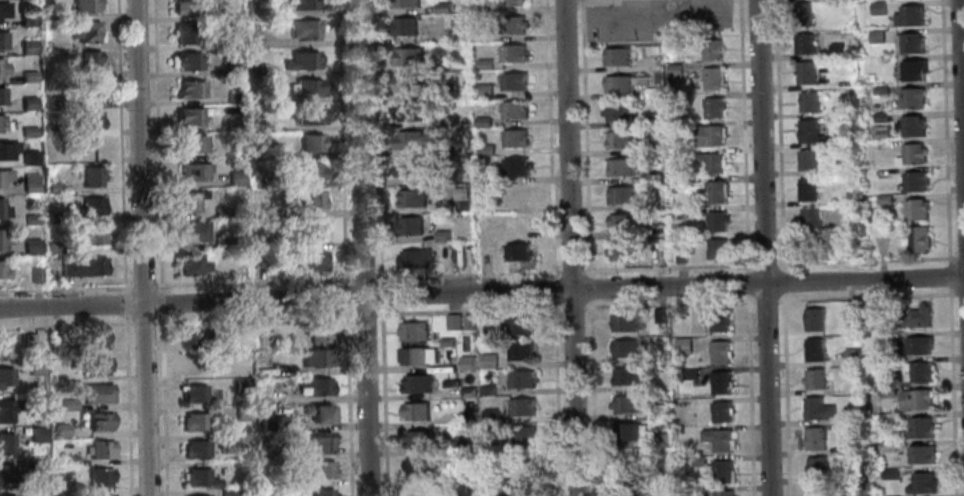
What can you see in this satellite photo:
building: (511, 2)
building: (407, 3)
building: (304, 4)
building: (82, 6)
building: (184, 7)
building: (257, 8)
building: (444, 8)
building: (878, 8)
building: (2, 9)
building: (804, 15)
building: (910, 16)
building: (24, 18)
building: (511, 25)
building: (406, 26)
building: (303, 29)
building: (83, 31)
building: (459, 31)
building: (182, 33)
building: (876, 37)
building: (1, 41)
building: (252, 41)
building: (910, 44)
building: (803, 45)
building: (25, 47)
building: (712, 50)
building: (836, 51)
building: (513, 53)
building: (247, 56)
building: (409, 56)
building: (617, 56)
building: (86, 60)
building: (185, 61)
building: (300, 61)
building: (450, 62)
building: (485, 64)
building: (1, 68)
building: (252, 69)
building: (231, 70)
building: (914, 70)
building: (674, 72)
building: (806, 73)
building: (26, 76)
building: (712, 78)
building: (870, 78)
building: (513, 81)
building: (618, 84)
building: (411, 85)
building: (307, 87)
building: (83, 89)
building: (188, 90)
building: (880, 90)
building: (484, 91)
road: (961, 92)
building: (652, 94)
building: (0, 97)
building: (232, 98)
building: (913, 98)
building: (48, 103)
building: (808, 103)
building: (25, 104)
building: (712, 107)
building: (515, 110)
building: (408, 111)
building: (618, 112)
building: (187, 116)
building: (309, 116)
building: (881, 117)
building: (87, 120)
building: (483, 122)
building: (653, 122)
building: (4, 124)
building: (233, 125)
building: (913, 126)
building: (256, 127)
building: (50, 130)
building: (25, 131)
building: (808, 131)
road: (945, 131)
road: (743, 135)
road: (779, 135)
building: (710, 136)
building: (515, 138)
road: (549, 138)
road: (586, 138)
building: (409, 139)
building: (618, 139)
road: (376, 141)
building: (848, 141)
road: (341, 142)
building: (309, 143)
building: (190, 144)
road: (155, 146)
road: (119, 147)
building: (5, 148)
building: (86, 148)
building: (486, 149)
building: (654, 149)
building: (257, 155)
building: (912, 155)
building: (51, 157)
building: (27, 158)
building: (808, 160)
building: (712, 162)
building: (516, 166)
building: (621, 166)
building: (410, 167)
building: (192, 172)
building: (307, 172)
building: (3, 174)
building: (89, 176)
building: (650, 177)
building: (234, 178)
building: (915, 181)
building: (28, 183)
building: (263, 183)
building: (51, 187)
building: (808, 189)
building: (717, 191)
building: (516, 195)
building: (622, 195)
building: (413, 198)
building: (884, 199)
building: (307, 200)
building: (188, 201)
building: (89, 207)
building: (453, 207)
building: (916, 209)
building: (3, 211)
building: (219, 212)
building: (267, 212)
building: (51, 217)
building: (810, 217)
building: (29, 219)
building: (717, 221)
building: (622, 222)
building: (410, 226)
building: (191, 231)
building: (311, 231)
building: (88, 234)
building: (443, 235)
building: (2, 237)
building: (918, 239)
building: (236, 242)
building: (273, 243)
building: (29, 247)
building: (52, 247)
road: (140, 248)
road: (362, 248)
road: (570, 248)
road: (763, 248)
building: (718, 249)
building: (622, 251)
building: (517, 252)
building: (681, 255)
road: (960, 257)
building: (308, 259)
building: (415, 259)
road: (865, 260)
building: (258, 261)
road: (764, 263)
building: (191, 265)
building: (80, 266)
road: (667, 266)
road: (571, 271)
building: (2, 273)
road: (467, 274)
building: (33, 275)
building: (50, 275)
road: (949, 275)
road: (363, 278)
road: (782, 281)
road: (252, 282)
road: (746, 282)
road: (141, 286)
road: (65, 288)
road: (589, 288)
road: (554, 289)
road: (481, 293)
road: (960, 293)
road: (345, 295)
road: (381, 295)
road: (867, 296)
road: (766, 299)
road: (668, 303)
road: (124, 304)
road: (159, 304)
road: (571, 307)
building: (868, 309)
road: (467, 310)
road: (363, 314)
building: (660, 316)
building: (916, 316)
road: (253, 318)
building: (716, 319)
building: (813, 319)
building: (453, 321)
building: (469, 321)
road: (142, 322)
building: (624, 323)
road: (66, 325)
building: (488, 325)
building: (519, 326)
building: (413, 330)
building: (317, 332)
building: (887, 336)
building: (92, 337)
building: (192, 338)
building: (263, 338)
building: (27, 341)
building: (445, 342)
building: (918, 345)
building: (683, 346)
building: (2, 348)
building: (625, 348)
building: (814, 349)
building: (520, 351)
building: (719, 352)
building: (417, 355)
building: (317, 357)
building: (851, 357)
building: (488, 361)
building: (468, 362)
building: (883, 364)
building: (94, 365)
building: (193, 366)
building: (32, 367)
building: (920, 372)
building: (689, 374)
building: (4, 376)
building: (625, 377)
building: (522, 378)
building: (814, 378)
building: (720, 382)
building: (450, 383)
building: (415, 384)
building: (241, 385)
building: (316, 386)
building: (487, 390)
building: (888, 390)
road: (951, 391)
building: (95, 392)
building: (469, 392)
building: (193, 393)
road: (748, 394)
road: (785, 394)
building: (277, 397)
building: (34, 398)
road: (557, 398)
road: (592, 398)
building: (858, 398)
building: (916, 399)
road: (348, 401)
road: (383, 401)
building: (66, 403)
building: (625, 404)
road: (126, 405)
road: (162, 405)
building: (521, 407)
building: (6, 409)
building: (817, 409)
building: (415, 411)
building: (659, 411)
building: (721, 411)
building: (320, 412)
building: (240, 413)
building: (490, 415)
building: (469, 417)
building: (887, 418)
building: (98, 422)
building: (194, 422)
building: (275, 423)
building: (923, 428)
building: (59, 429)
building: (630, 432)
building: (35, 434)
building: (523, 435)
building: (418, 439)
building: (815, 439)
building: (222, 440)
building: (661, 440)
building: (720, 440)
building: (532, 441)
building: (322, 442)
building: (5, 443)
building: (469, 445)
building: (494, 446)
building: (888, 446)
building: (197, 448)
building: (98, 450)
building: (921, 455)
building: (67, 459)
building: (629, 461)
building: (697, 461)
building: (34, 463)
building: (816, 466)
building: (527, 467)
building: (323, 469)
building: (415, 469)
building: (723, 471)
building: (5, 473)
building: (889, 474)
building: (98, 476)
building: (198, 478)
building: (472, 478)
building: (281, 481)
building: (921, 483)
building: (65, 487)
building: (628, 487)
building: (524, 489)
building: (819, 490)
building: (321, 492)
building: (415, 492)
building: (695, 492)
building: (42, 493)
building: (226, 493)
building: (661, 493)
building: (723, 493)
building: (8, 495)
building: (102, 495)
building: (198, 495)
building: (494, 495)

